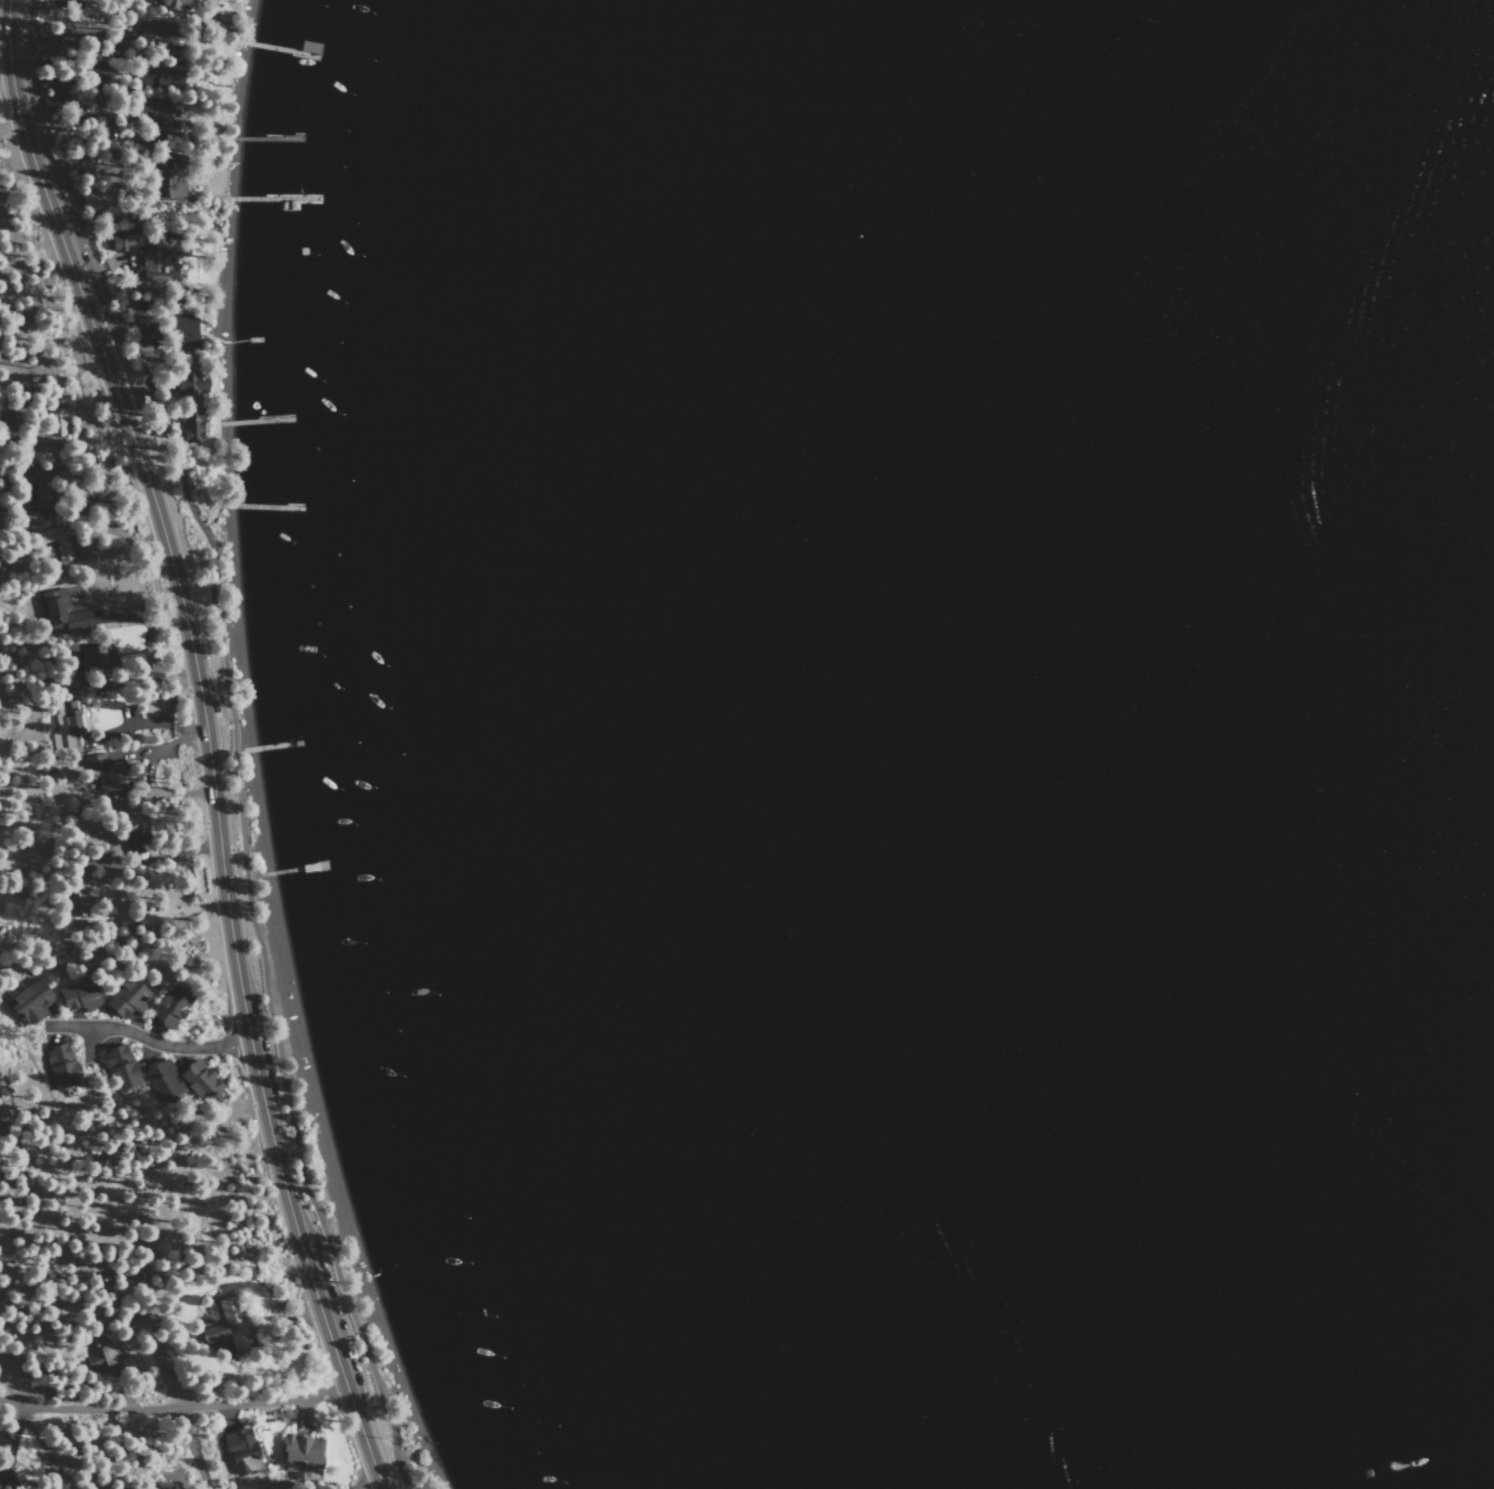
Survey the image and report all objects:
building: (177, 3)
building: (155, 35)
pier: (261, 45)
building: (158, 74)
building: (52, 80)
building: (154, 115)
pier: (257, 134)
road: (13, 152)
building: (167, 177)
pier: (259, 196)
building: (150, 256)
building: (183, 330)
building: (188, 383)
pier: (250, 420)
building: (57, 423)
building: (191, 426)
building: (33, 486)
pier: (258, 507)
building: (36, 516)
building: (58, 542)
building: (64, 616)
building: (97, 656)
building: (67, 726)
road: (232, 739)
road: (209, 741)
pier: (277, 747)
building: (136, 839)
pier: (299, 870)
building: (77, 903)
building: (79, 995)
building: (127, 996)
building: (30, 1002)
building: (171, 1006)
road: (146, 1039)
building: (62, 1066)
building: (120, 1067)
building: (162, 1079)
building: (199, 1079)
building: (225, 1322)
building: (97, 1354)
road: (11, 1392)
road: (185, 1407)
road: (194, 1448)
road: (43, 1449)
building: (302, 1456)
building: (3, 1488)

